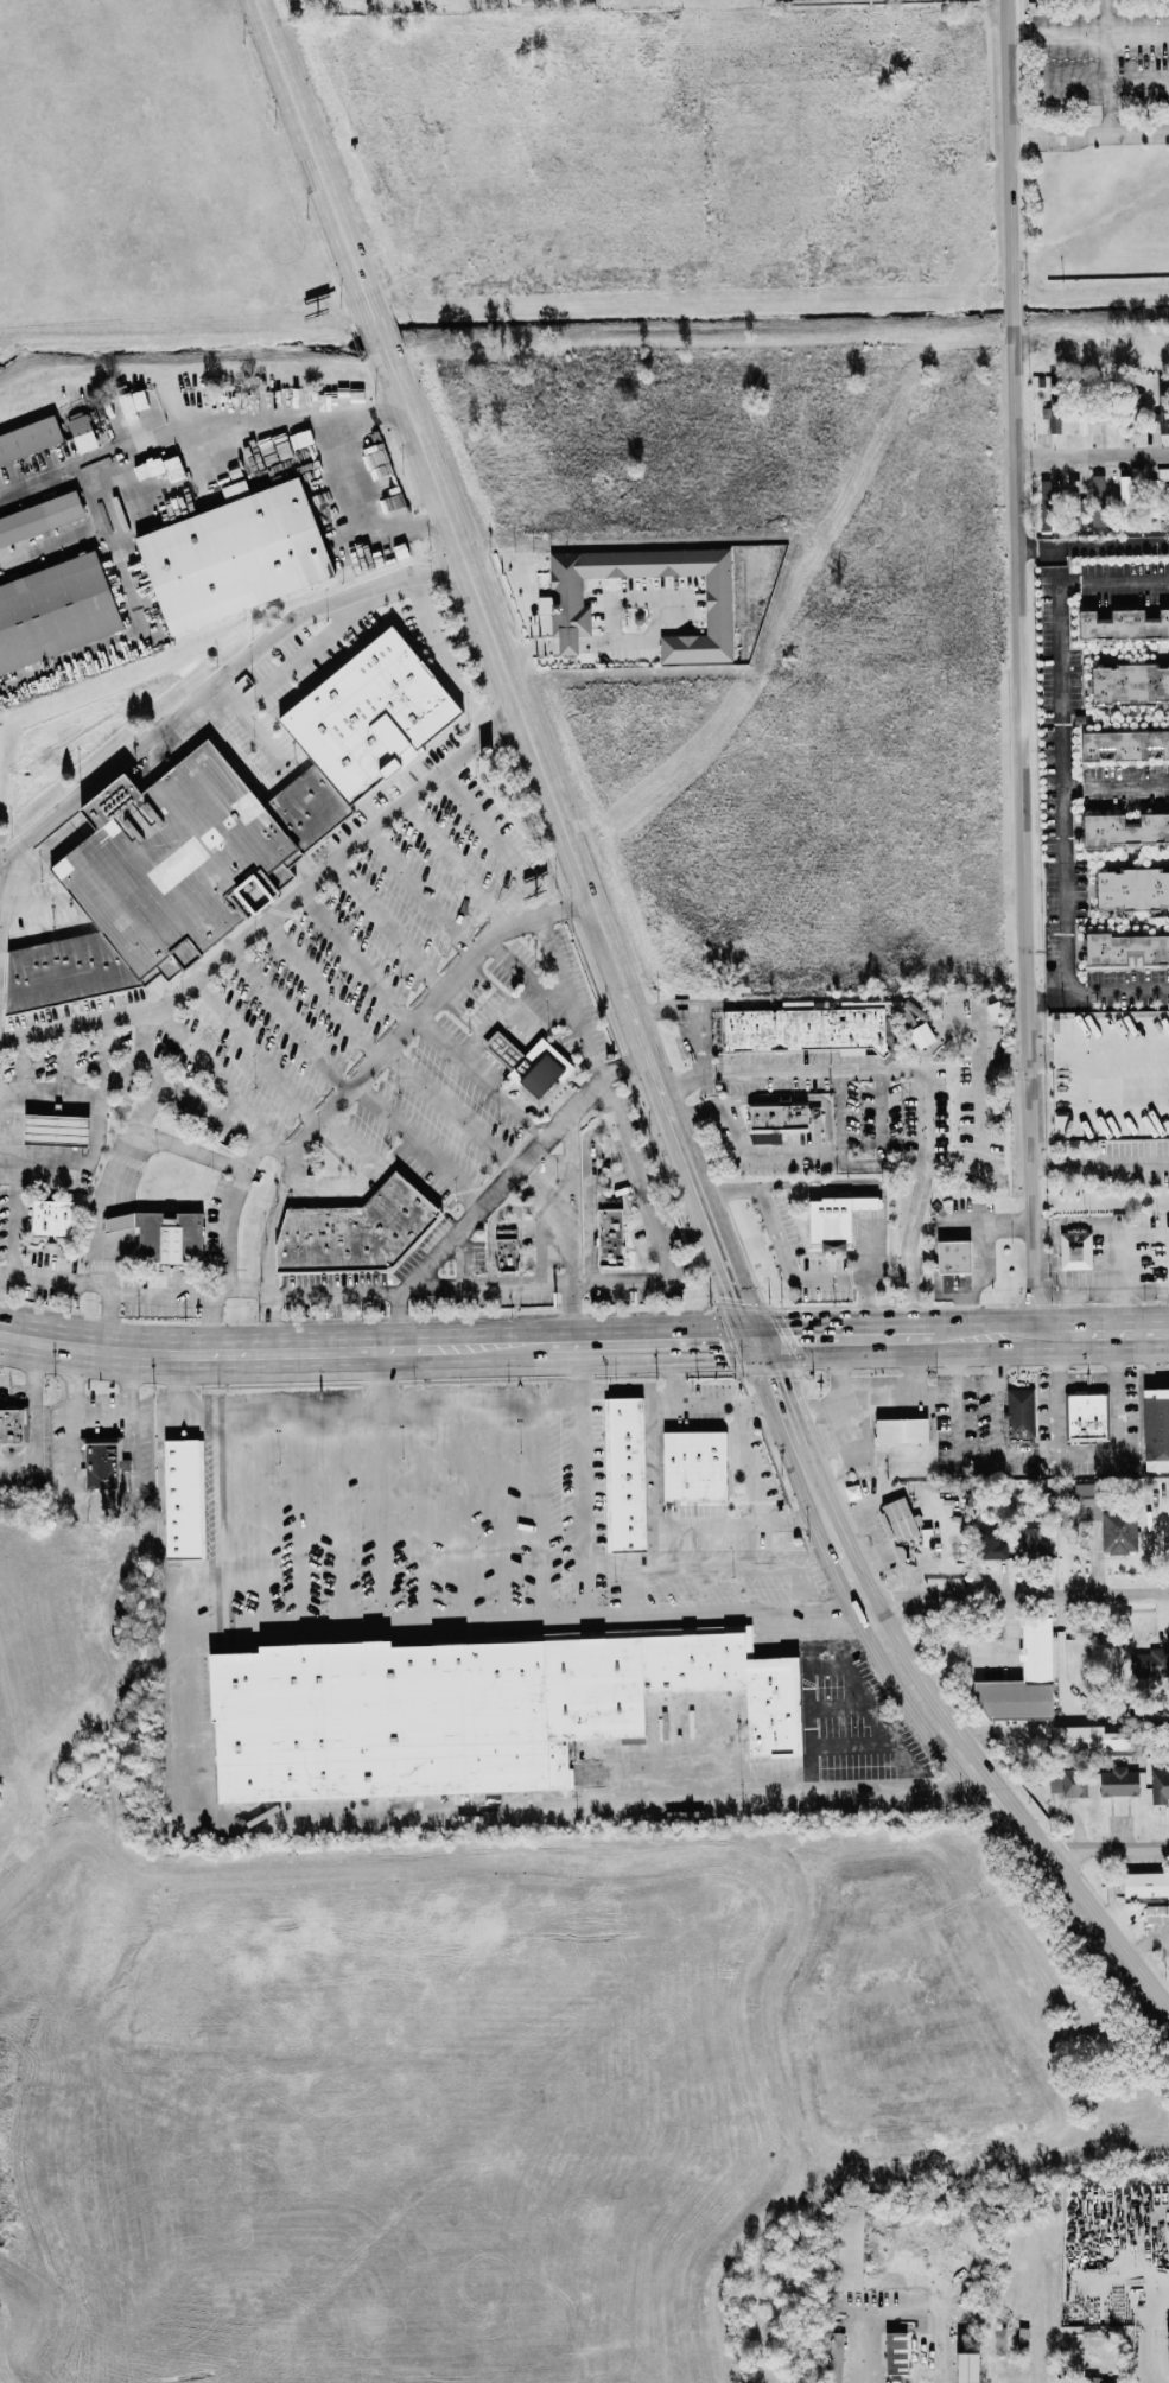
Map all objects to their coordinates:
road: (724, 6)
road: (1139, 36)
road: (1059, 37)
road: (1111, 68)
road: (1141, 81)
road: (1087, 138)
building: (266, 398)
building: (131, 402)
building: (1132, 411)
road: (241, 413)
building: (1079, 421)
building: (1106, 421)
building: (1160, 421)
building: (77, 432)
building: (26, 437)
road: (1089, 453)
road: (42, 468)
road: (381, 475)
building: (230, 489)
building: (1155, 490)
building: (1095, 501)
building: (1070, 504)
road: (158, 508)
building: (37, 517)
road: (350, 525)
road: (1092, 547)
building: (227, 555)
road: (1117, 583)
road: (661, 592)
building: (559, 604)
building: (51, 611)
road: (152, 621)
building: (1120, 623)
road: (568, 643)
road: (528, 647)
road: (443, 657)
road: (1018, 668)
road: (503, 671)
road: (216, 682)
building: (1126, 684)
building: (1122, 743)
road: (1117, 788)
road: (1066, 792)
building: (1123, 827)
building: (215, 831)
road: (500, 841)
road: (457, 864)
building: (1129, 888)
road: (426, 895)
road: (275, 911)
road: (389, 928)
building: (1123, 948)
road: (357, 959)
road: (324, 990)
road: (571, 992)
road: (445, 993)
road: (1118, 998)
road: (1046, 999)
road: (290, 1023)
road: (258, 1053)
road: (1098, 1057)
building: (521, 1062)
road: (789, 1070)
road: (155, 1074)
road: (983, 1074)
road: (483, 1078)
road: (224, 1084)
road: (49, 1089)
road: (202, 1104)
road: (452, 1110)
road: (386, 1112)
building: (771, 1117)
road: (925, 1117)
building: (47, 1129)
road: (743, 1144)
road: (255, 1154)
road: (395, 1156)
road: (57, 1161)
road: (883, 1162)
road: (1100, 1169)
road: (376, 1175)
road: (564, 1206)
road: (474, 1213)
building: (836, 1215)
building: (46, 1218)
building: (348, 1231)
building: (610, 1233)
building: (157, 1235)
road: (1120, 1238)
building: (506, 1248)
road: (909, 1250)
building: (1070, 1250)
building: (947, 1257)
road: (977, 1257)
road: (104, 1259)
road: (789, 1265)
road: (269, 1269)
road: (53, 1276)
road: (643, 1281)
road: (1095, 1288)
road: (247, 1290)
road: (1120, 1311)
road: (398, 1318)
road: (211, 1328)
road: (1050, 1336)
road: (844, 1340)
traffic signals: (756, 1342)
road: (650, 1343)
road: (89, 1346)
road: (377, 1349)
road: (195, 1353)
road: (382, 1377)
road: (998, 1386)
road: (776, 1392)
road: (399, 1403)
road: (731, 1411)
building: (1016, 1413)
road: (106, 1416)
building: (892, 1421)
building: (1154, 1424)
building: (7, 1426)
road: (47, 1429)
road: (959, 1430)
road: (582, 1450)
road: (1087, 1455)
building: (692, 1463)
building: (624, 1473)
road: (218, 1474)
building: (180, 1496)
road: (542, 1510)
road: (502, 1511)
road: (463, 1512)
road: (424, 1513)
road: (382, 1514)
road: (338, 1515)
road: (300, 1517)
road: (261, 1518)
building: (895, 1519)
road: (827, 1520)
road: (714, 1523)
building: (1106, 1523)
building: (992, 1544)
building: (1031, 1544)
road: (802, 1589)
road: (1016, 1595)
road: (813, 1610)
road: (579, 1621)
building: (1157, 1657)
road: (989, 1659)
building: (1018, 1679)
building: (458, 1707)
building: (1081, 1739)
road: (643, 1758)
building: (1116, 1781)
building: (1066, 1784)
building: (1158, 1785)
road: (849, 1786)
road: (1012, 1801)
road: (287, 1823)
road: (998, 1831)
road: (1095, 1847)
building: (1143, 1883)
building: (1155, 1912)
road: (913, 2213)
building: (849, 2273)
road: (921, 2274)
road: (1145, 2334)
building: (1168, 2346)
building: (896, 2352)
building: (834, 2357)
building: (968, 2366)

